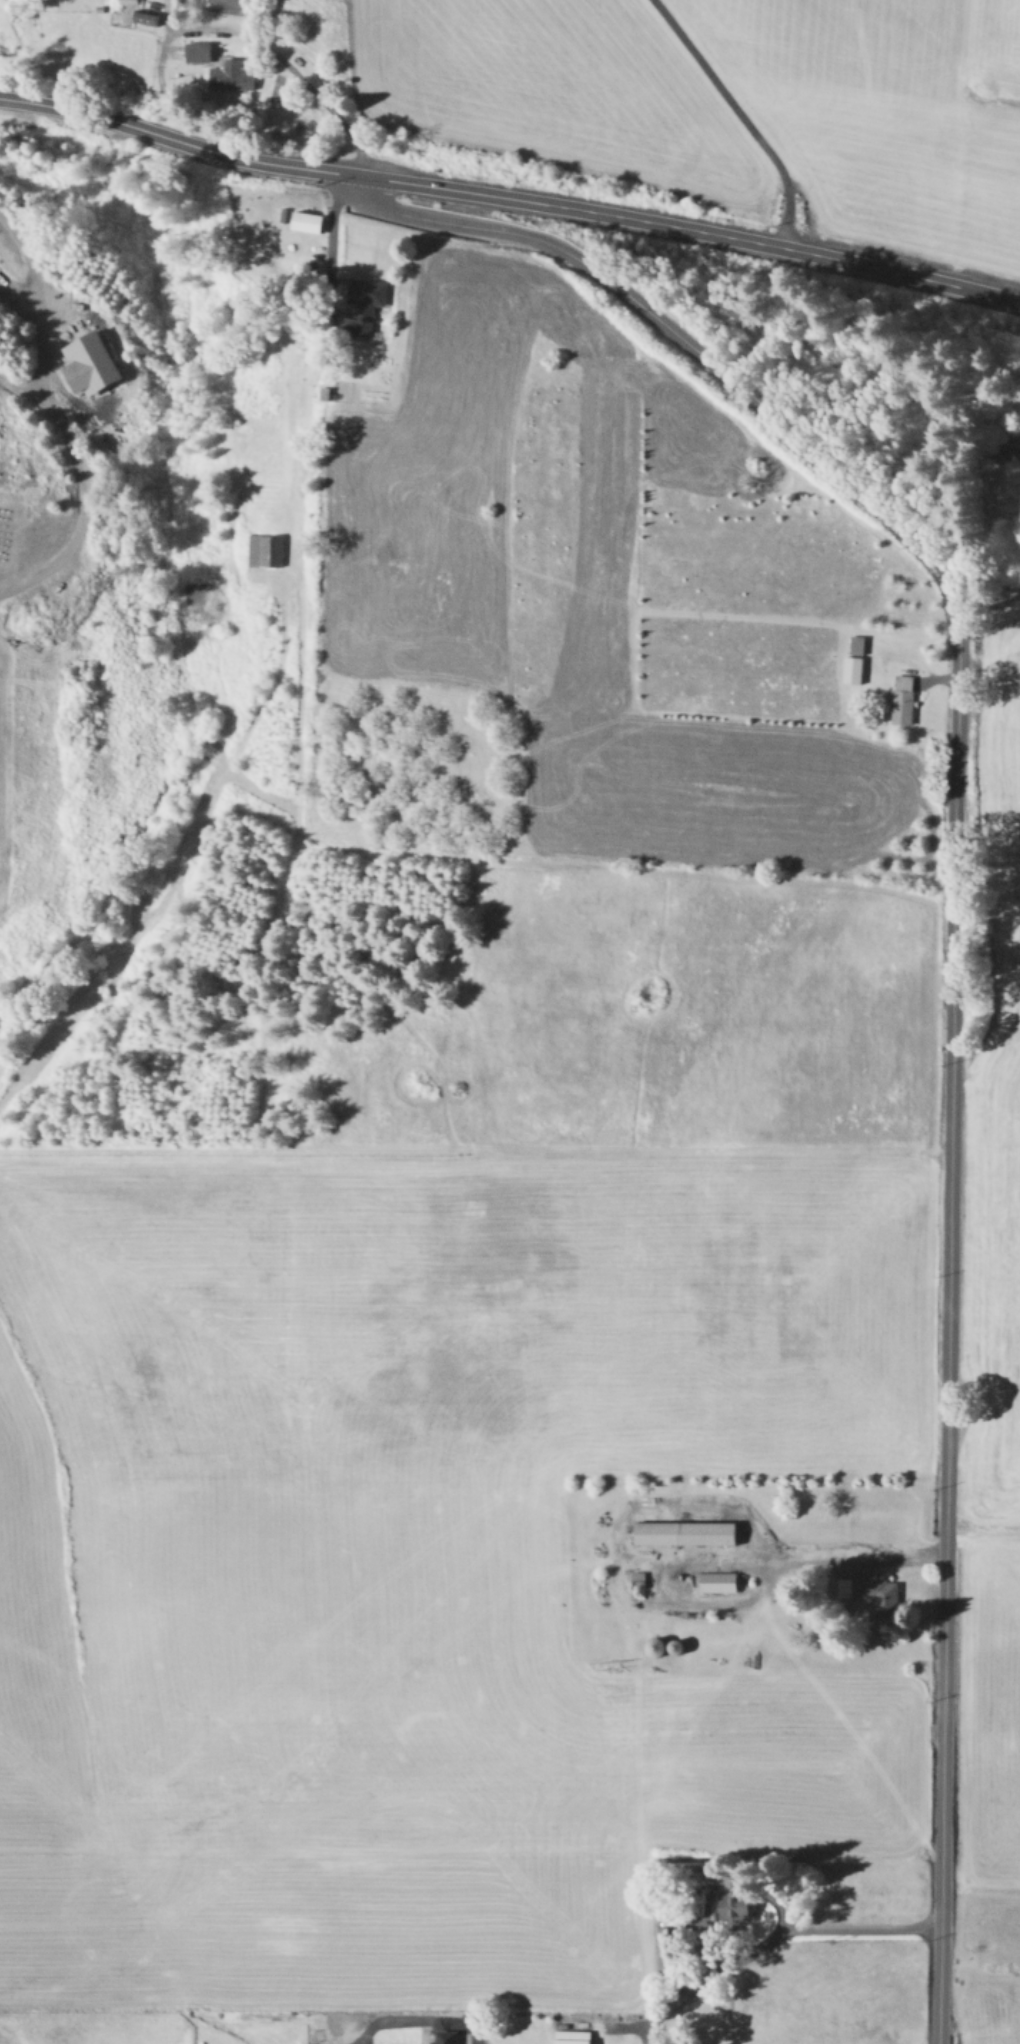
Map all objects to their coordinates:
building: (130, 1)
building: (150, 16)
road: (205, 33)
building: (201, 50)
building: (234, 75)
crop: (613, 96)
road: (734, 116)
road: (510, 198)
building: (311, 220)
road: (329, 225)
building: (365, 302)
building: (92, 364)
road: (14, 384)
road: (44, 426)
building: (263, 549)
building: (860, 644)
building: (855, 669)
building: (904, 698)
road: (950, 941)
road: (474, 1160)
crop: (540, 1499)
building: (687, 1533)
road: (804, 1555)
building: (720, 1581)
building: (880, 1594)
building: (661, 1646)
building: (737, 1900)
road: (799, 1936)
road: (417, 2016)
building: (576, 2036)
building: (449, 2037)

